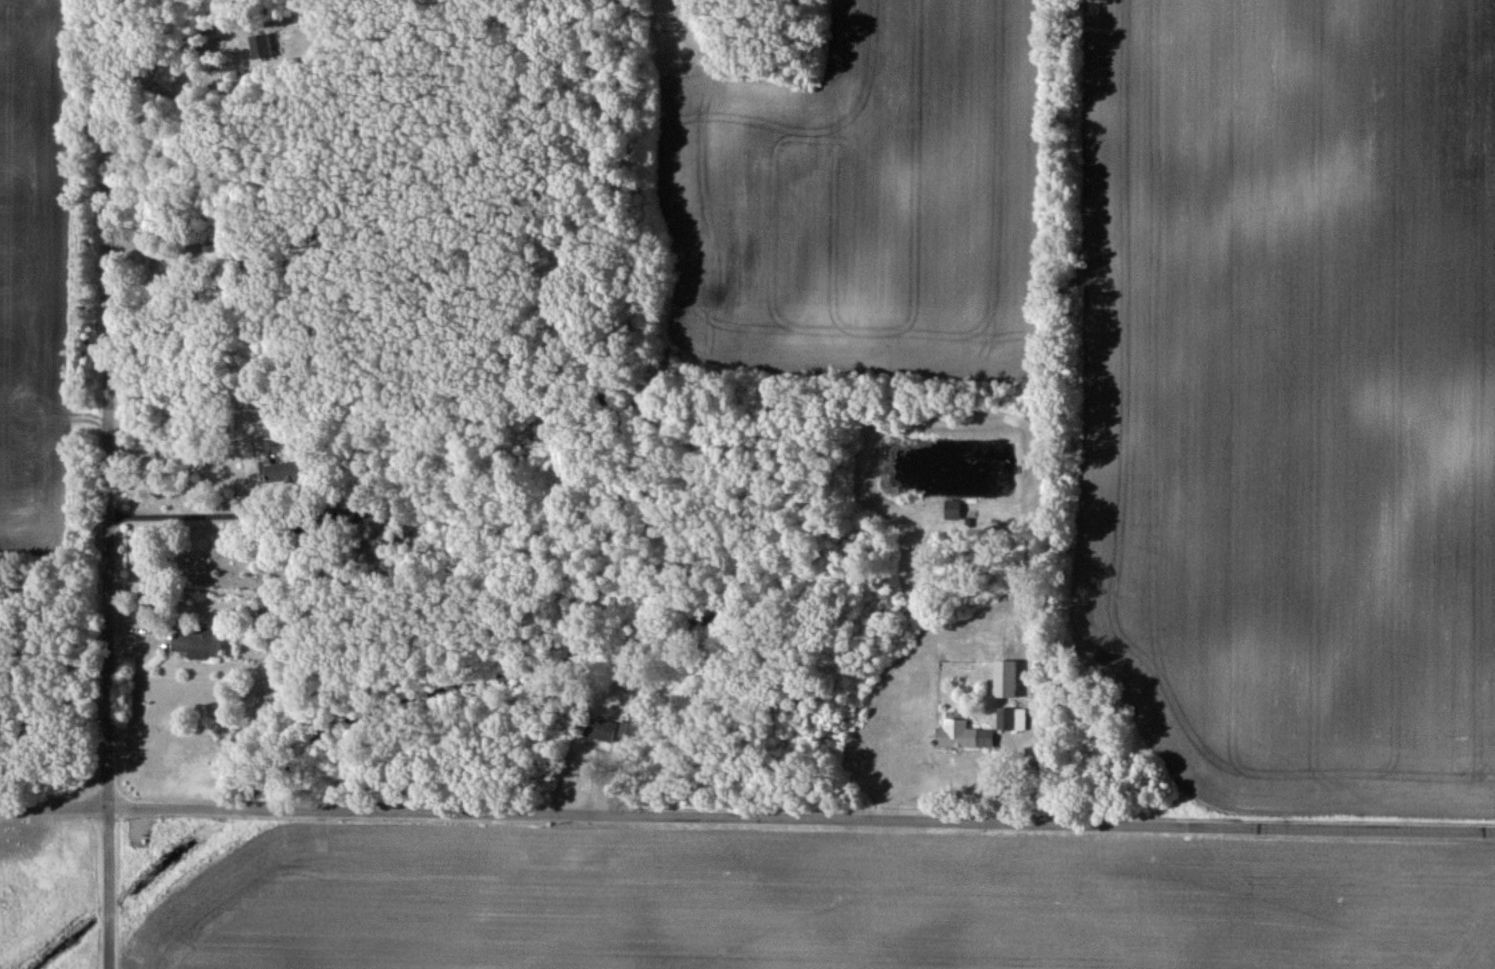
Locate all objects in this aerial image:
building: (277, 473)
road: (107, 484)
building: (201, 643)
building: (1008, 718)
building: (600, 728)
building: (965, 734)
road: (747, 815)

